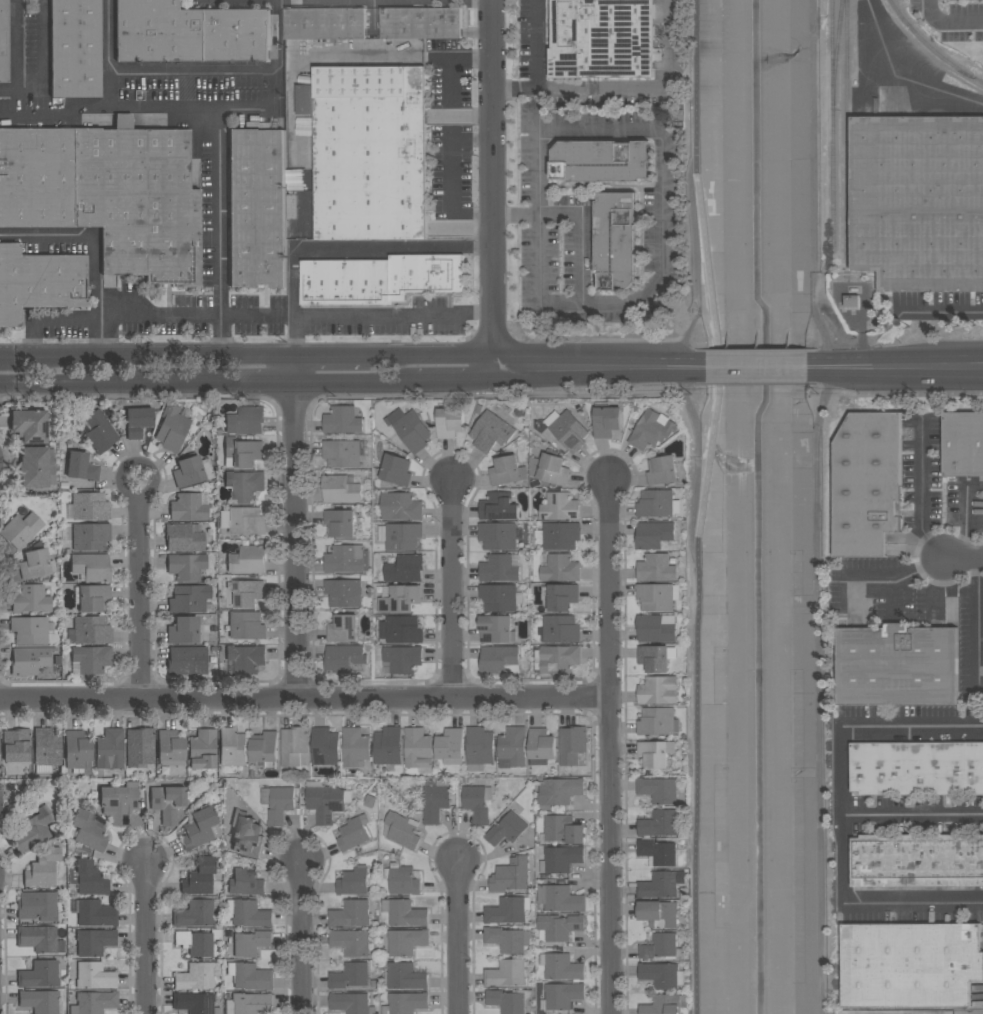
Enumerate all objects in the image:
road: (947, 18)
building: (325, 22)
building: (422, 22)
building: (189, 33)
building: (603, 38)
building: (4, 42)
railway: (932, 47)
building: (76, 48)
railway: (836, 52)
road: (16, 53)
road: (321, 54)
road: (461, 56)
road: (42, 57)
road: (157, 72)
road: (927, 85)
road: (643, 86)
road: (515, 88)
road: (146, 106)
road: (53, 115)
railway: (831, 124)
railway: (845, 132)
road: (219, 149)
building: (369, 151)
building: (601, 161)
road: (453, 175)
road: (493, 182)
building: (109, 194)
building: (918, 201)
road: (659, 207)
building: (257, 208)
road: (700, 208)
road: (538, 237)
building: (616, 240)
road: (685, 243)
road: (362, 248)
road: (96, 251)
building: (379, 278)
building: (39, 282)
building: (852, 300)
road: (939, 308)
road: (50, 316)
road: (296, 318)
road: (294, 336)
road: (147, 354)
road: (335, 355)
road: (435, 355)
road: (584, 364)
road: (688, 364)
road: (756, 364)
road: (897, 364)
road: (448, 378)
road: (348, 380)
road: (85, 381)
road: (232, 381)
building: (478, 408)
building: (246, 420)
building: (343, 420)
building: (606, 420)
building: (140, 421)
building: (450, 422)
building: (29, 425)
building: (172, 429)
building: (410, 429)
building: (651, 430)
building: (100, 431)
building: (569, 431)
building: (491, 432)
building: (396, 440)
building: (963, 444)
building: (243, 452)
building: (342, 453)
road: (694, 465)
building: (79, 467)
building: (550, 468)
building: (35, 469)
building: (395, 470)
building: (507, 470)
building: (662, 470)
building: (192, 471)
building: (867, 483)
building: (245, 484)
building: (342, 488)
road: (920, 492)
building: (655, 503)
building: (559, 505)
building: (401, 506)
building: (499, 506)
building: (90, 507)
building: (188, 508)
building: (243, 520)
building: (340, 522)
road: (295, 528)
building: (21, 530)
building: (520, 533)
building: (654, 534)
building: (558, 535)
building: (403, 536)
building: (498, 536)
building: (88, 537)
building: (184, 538)
building: (347, 558)
road: (964, 559)
building: (248, 560)
building: (36, 563)
building: (91, 567)
building: (186, 567)
building: (559, 567)
building: (405, 568)
building: (499, 568)
building: (656, 568)
road: (895, 580)
road: (452, 590)
building: (344, 592)
road: (140, 593)
building: (247, 593)
building: (561, 596)
building: (656, 596)
building: (499, 597)
building: (93, 598)
building: (399, 598)
building: (190, 599)
building: (31, 600)
road: (977, 615)
building: (246, 624)
building: (343, 628)
building: (496, 628)
building: (655, 628)
building: (401, 629)
building: (561, 629)
building: (30, 630)
building: (92, 630)
building: (183, 631)
building: (246, 658)
building: (345, 658)
building: (498, 658)
building: (654, 658)
building: (92, 659)
building: (559, 659)
building: (30, 660)
building: (401, 660)
building: (187, 661)
building: (897, 665)
building: (658, 690)
road: (304, 701)
road: (698, 714)
building: (659, 721)
building: (294, 744)
building: (16, 745)
building: (388, 745)
building: (572, 745)
building: (326, 746)
building: (355, 746)
building: (451, 746)
building: (541, 746)
road: (610, 746)
building: (140, 747)
building: (232, 747)
building: (513, 747)
building: (265, 748)
building: (418, 748)
building: (479, 748)
building: (46, 749)
building: (110, 749)
building: (169, 749)
building: (203, 749)
building: (77, 750)
building: (656, 752)
building: (917, 767)
building: (659, 789)
building: (559, 790)
building: (436, 799)
building: (328, 801)
building: (0, 802)
building: (119, 802)
building: (278, 802)
building: (477, 802)
building: (167, 803)
road: (912, 813)
road: (843, 814)
building: (659, 823)
building: (201, 828)
building: (33, 829)
building: (401, 829)
building: (507, 829)
building: (561, 830)
building: (353, 831)
building: (88, 832)
building: (246, 834)
building: (658, 852)
building: (561, 859)
building: (917, 860)
building: (43, 869)
building: (200, 877)
building: (88, 879)
building: (402, 879)
building: (512, 879)
building: (356, 880)
building: (246, 882)
building: (662, 884)
building: (560, 898)
building: (38, 906)
building: (508, 910)
building: (404, 912)
building: (248, 913)
building: (351, 913)
building: (659, 913)
building: (96, 914)
building: (195, 914)
building: (560, 926)
road: (303, 936)
road: (147, 937)
road: (457, 937)
building: (40, 939)
building: (507, 939)
building: (351, 941)
building: (406, 941)
building: (94, 942)
building: (198, 942)
building: (249, 942)
building: (662, 946)
building: (910, 964)
building: (562, 966)
building: (507, 973)
building: (662, 974)
building: (39, 975)
building: (94, 975)
building: (197, 976)
building: (251, 976)
building: (352, 976)
building: (406, 976)
building: (561, 996)
building: (509, 1000)
building: (40, 1001)
building: (94, 1003)
building: (195, 1003)
building: (248, 1003)
building: (351, 1003)
building: (405, 1003)
building: (665, 1004)

